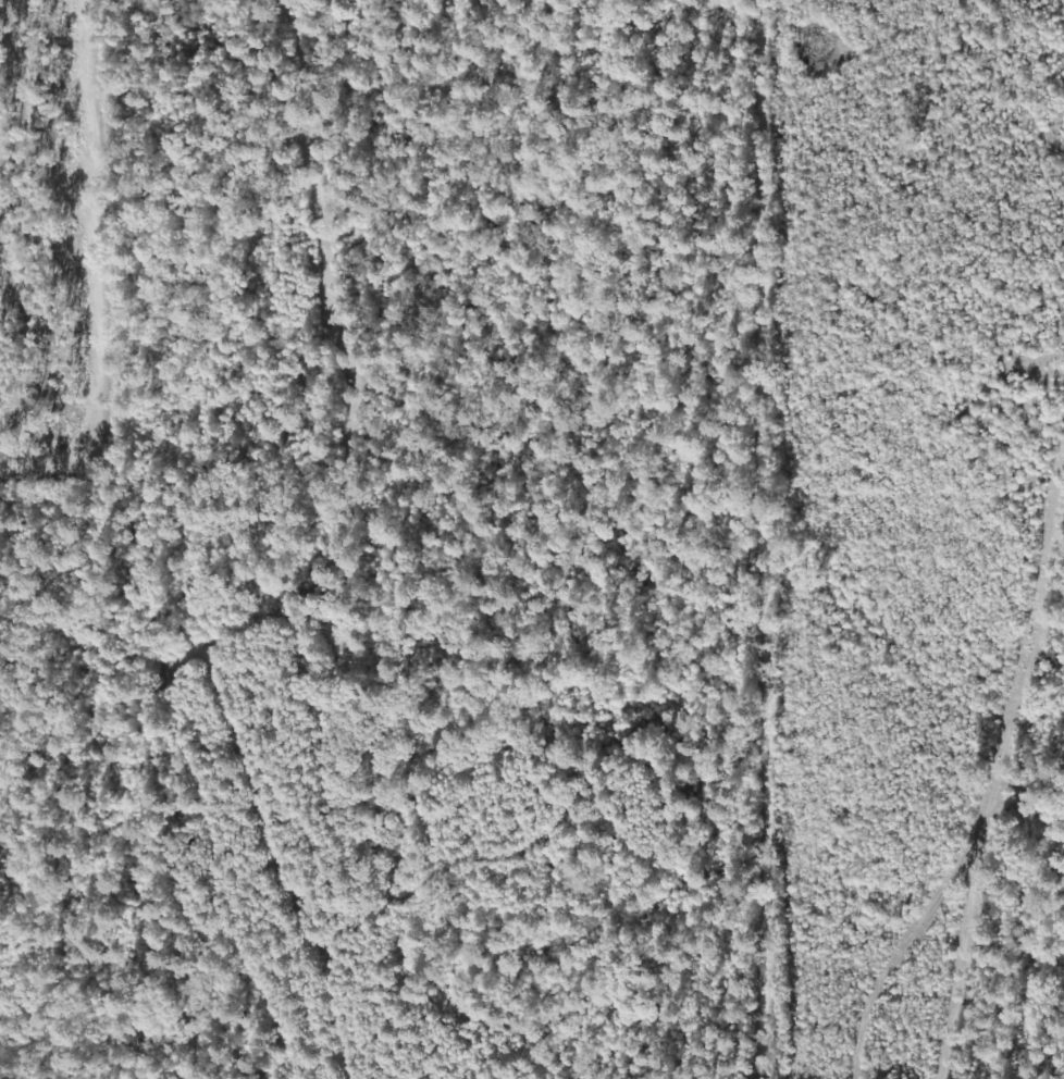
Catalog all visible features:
road: (653, 541)

